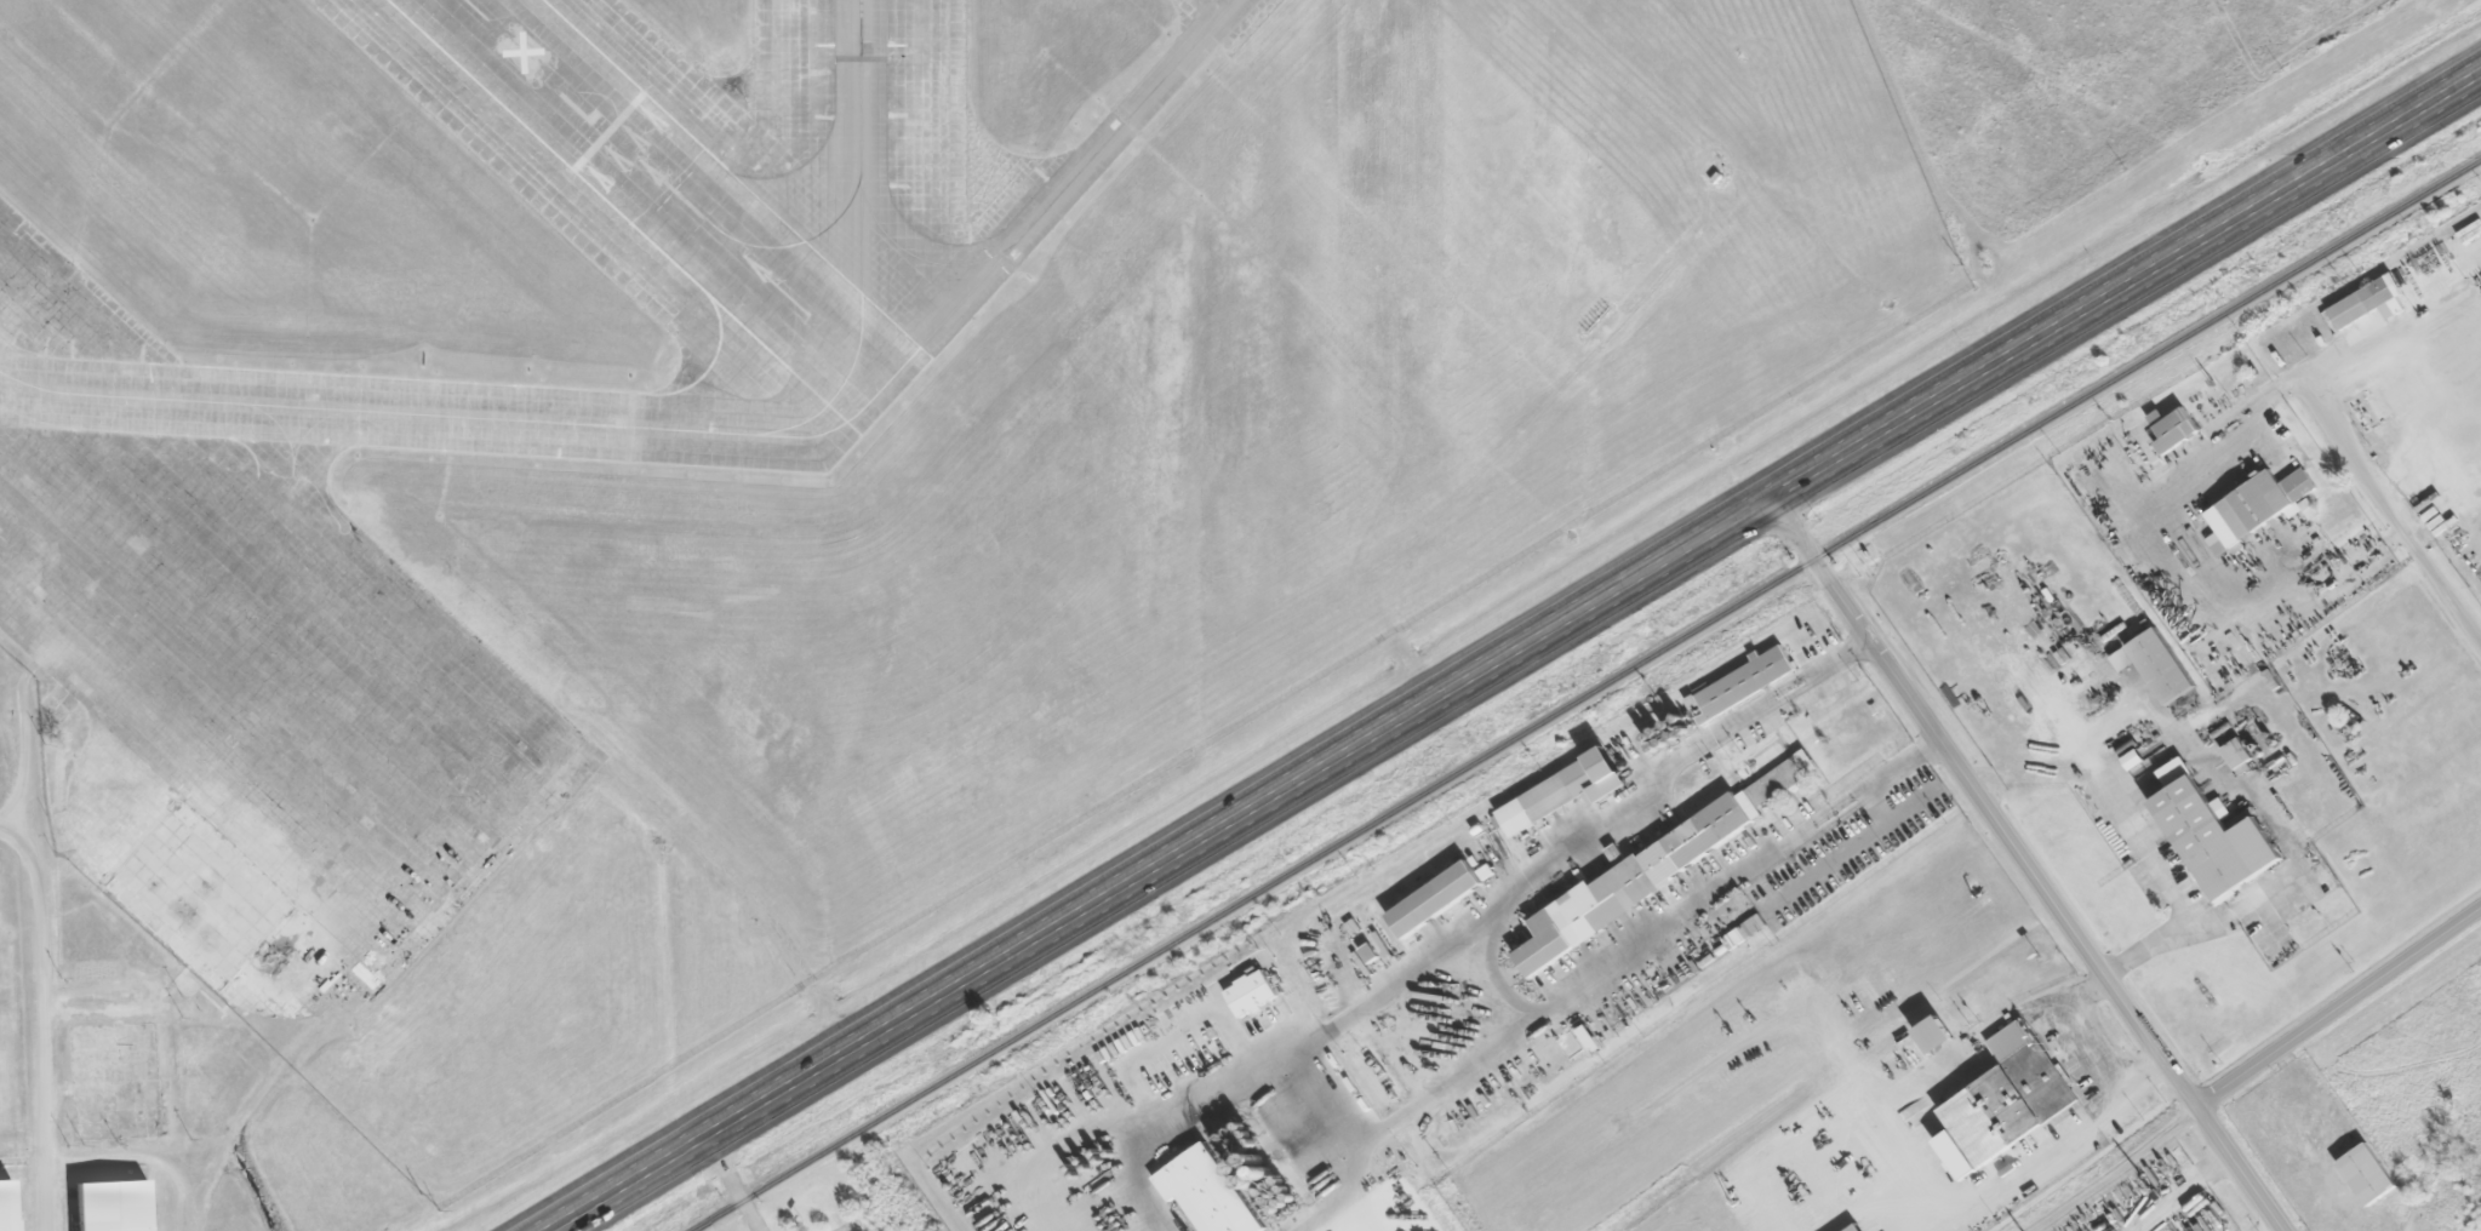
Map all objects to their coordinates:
airport runway: (538, 67)
airport taxiway: (861, 242)
airport taxiway: (798, 244)
airport taxiway: (914, 256)
airport taxiway: (764, 275)
building: (2369, 303)
building: (2174, 429)
airport taxiway: (708, 430)
airport: (811, 448)
road: (2390, 504)
building: (2260, 509)
airport apron: (252, 629)
road: (1514, 652)
building: (2123, 660)
building: (2162, 666)
building: (1745, 681)
railway: (1584, 695)
building: (2240, 756)
building: (2134, 760)
building: (1566, 791)
building: (2213, 836)
building: (1663, 863)
road: (2028, 865)
building: (199, 897)
building: (1441, 900)
road: (33, 962)
building: (1252, 994)
road: (2339, 1009)
building: (1937, 1034)
building: (2007, 1101)
road: (205, 1152)
building: (2368, 1173)
road: (731, 1184)
building: (1210, 1192)
building: (112, 1206)
building: (6, 1207)
building: (1857, 1227)
road: (847, 1230)

